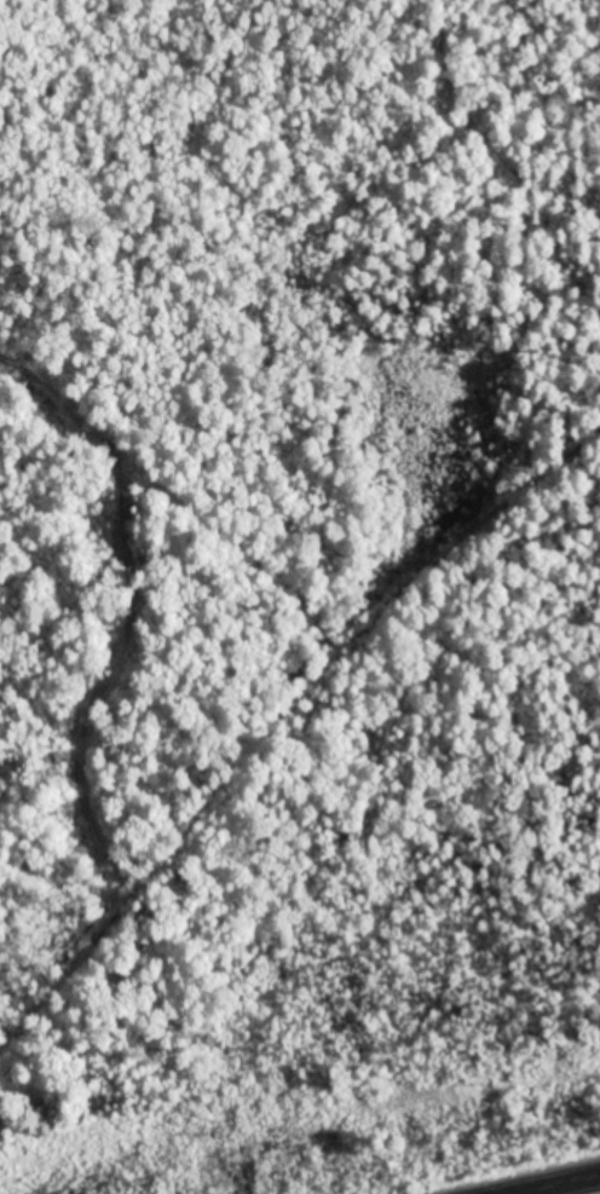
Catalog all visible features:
power tower: (501, 1085)
power tower: (212, 1136)
road: (560, 1186)

